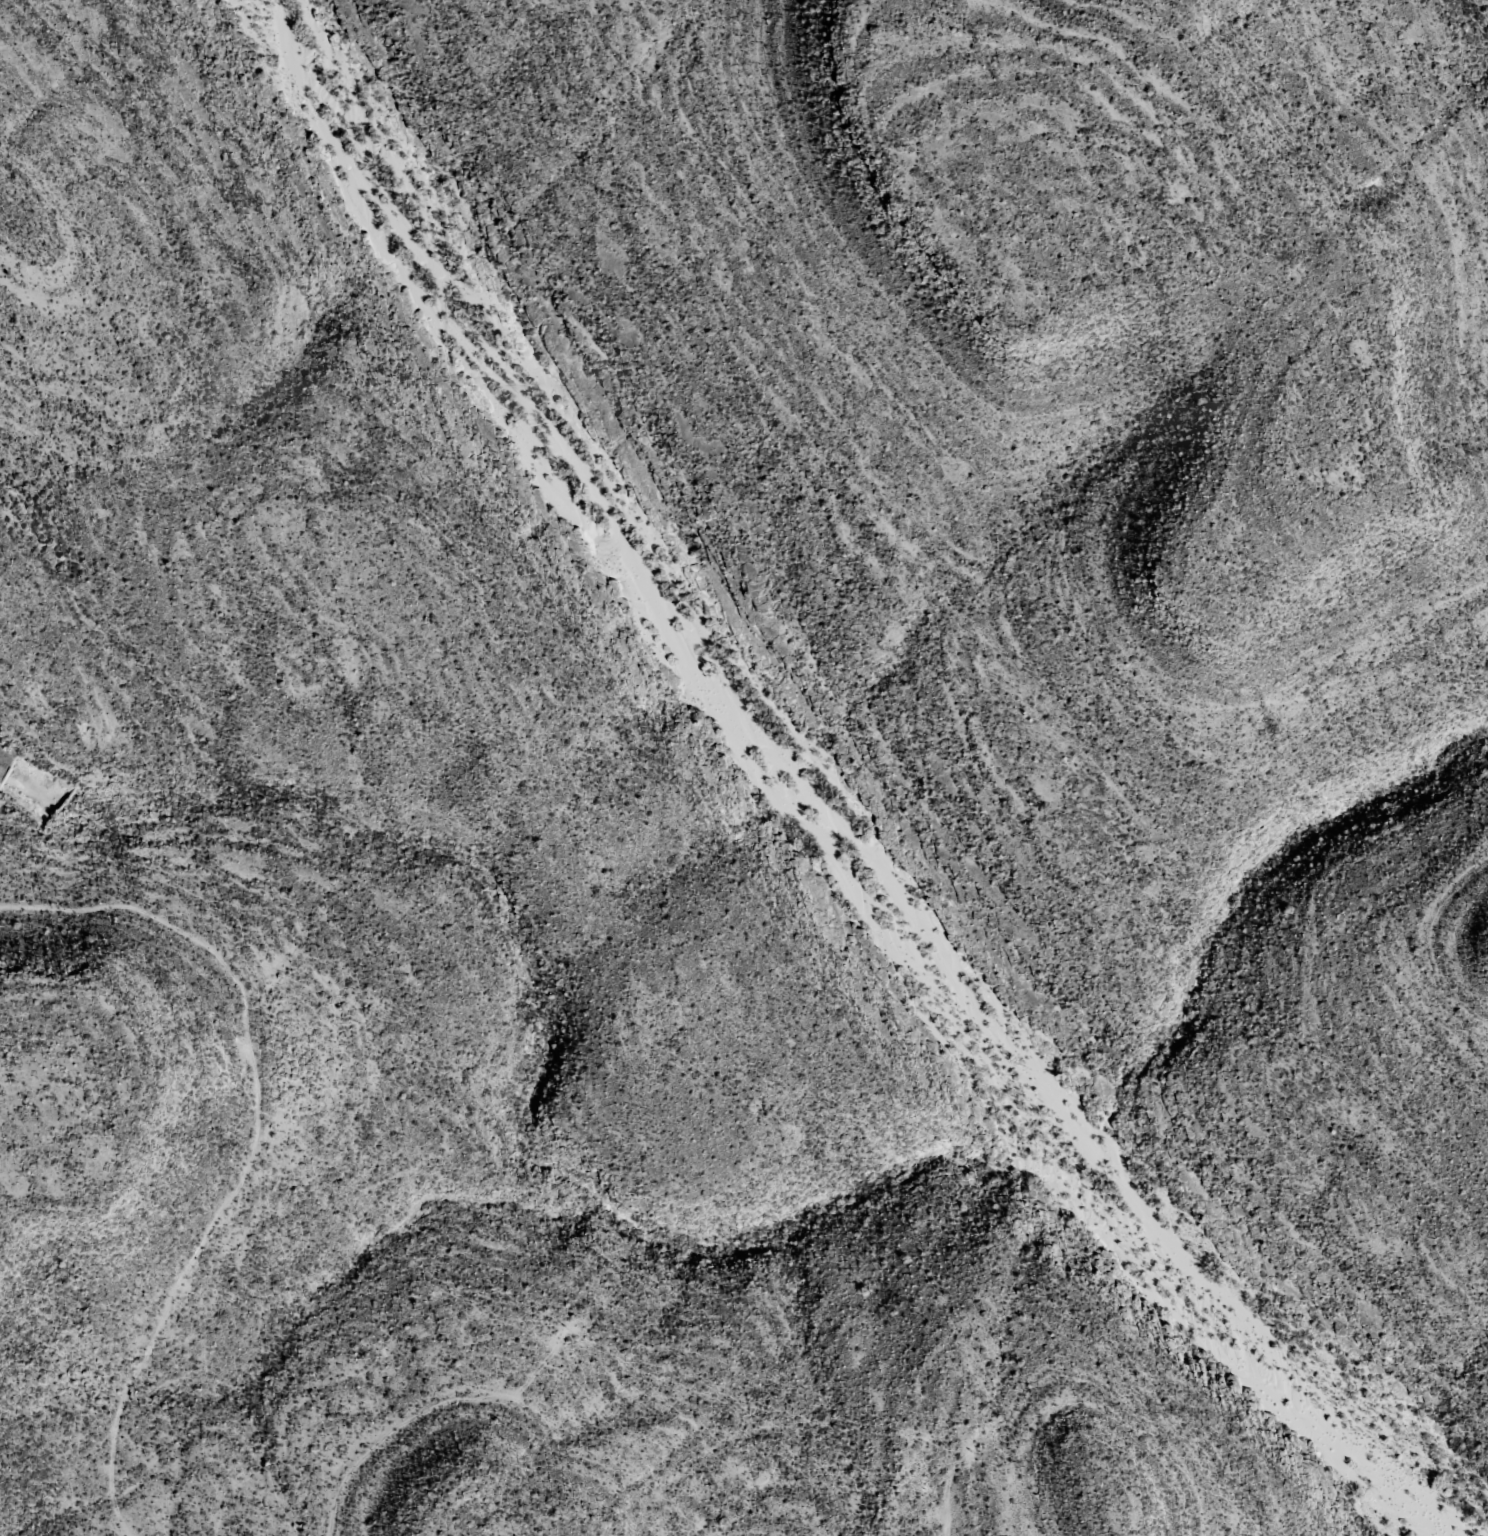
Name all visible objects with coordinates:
road: (234, 1153)

